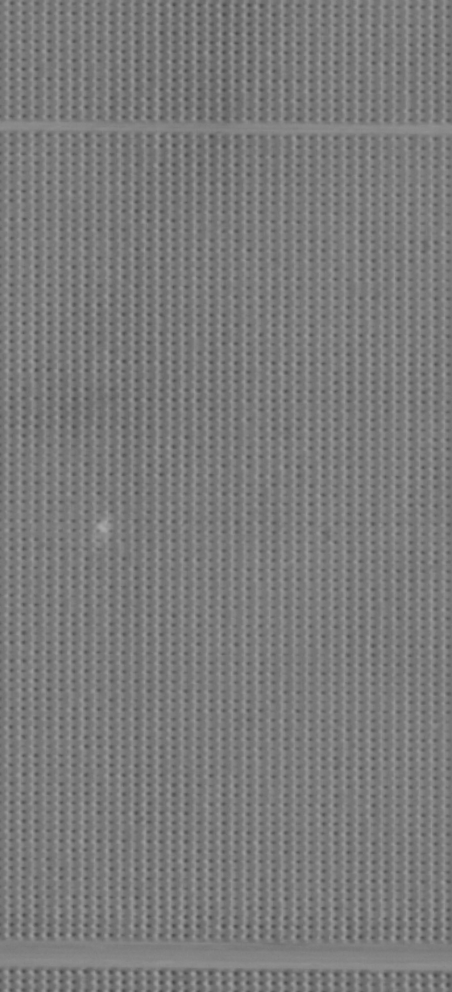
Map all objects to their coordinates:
crop: (226, 496)

